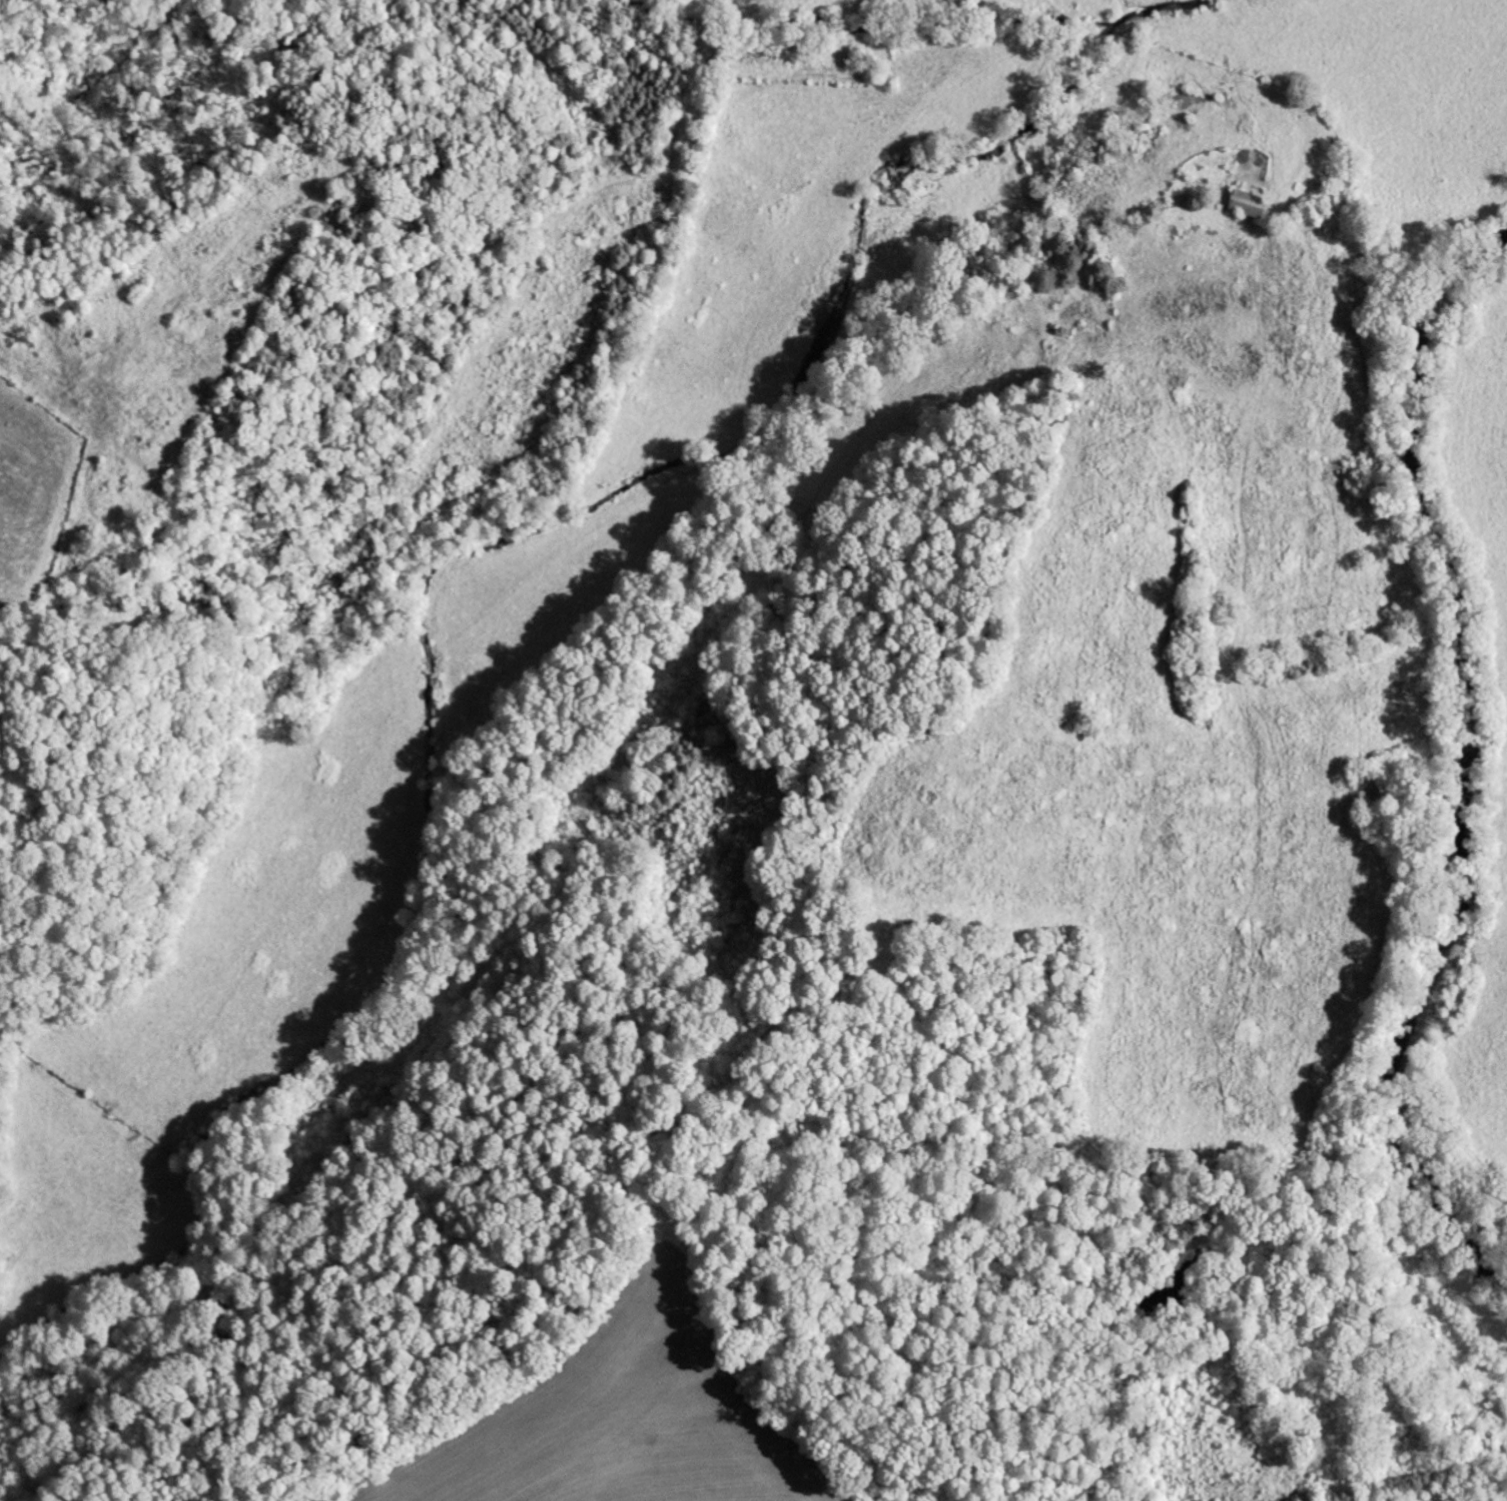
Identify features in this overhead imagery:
building: (1244, 202)
road: (1460, 1498)

